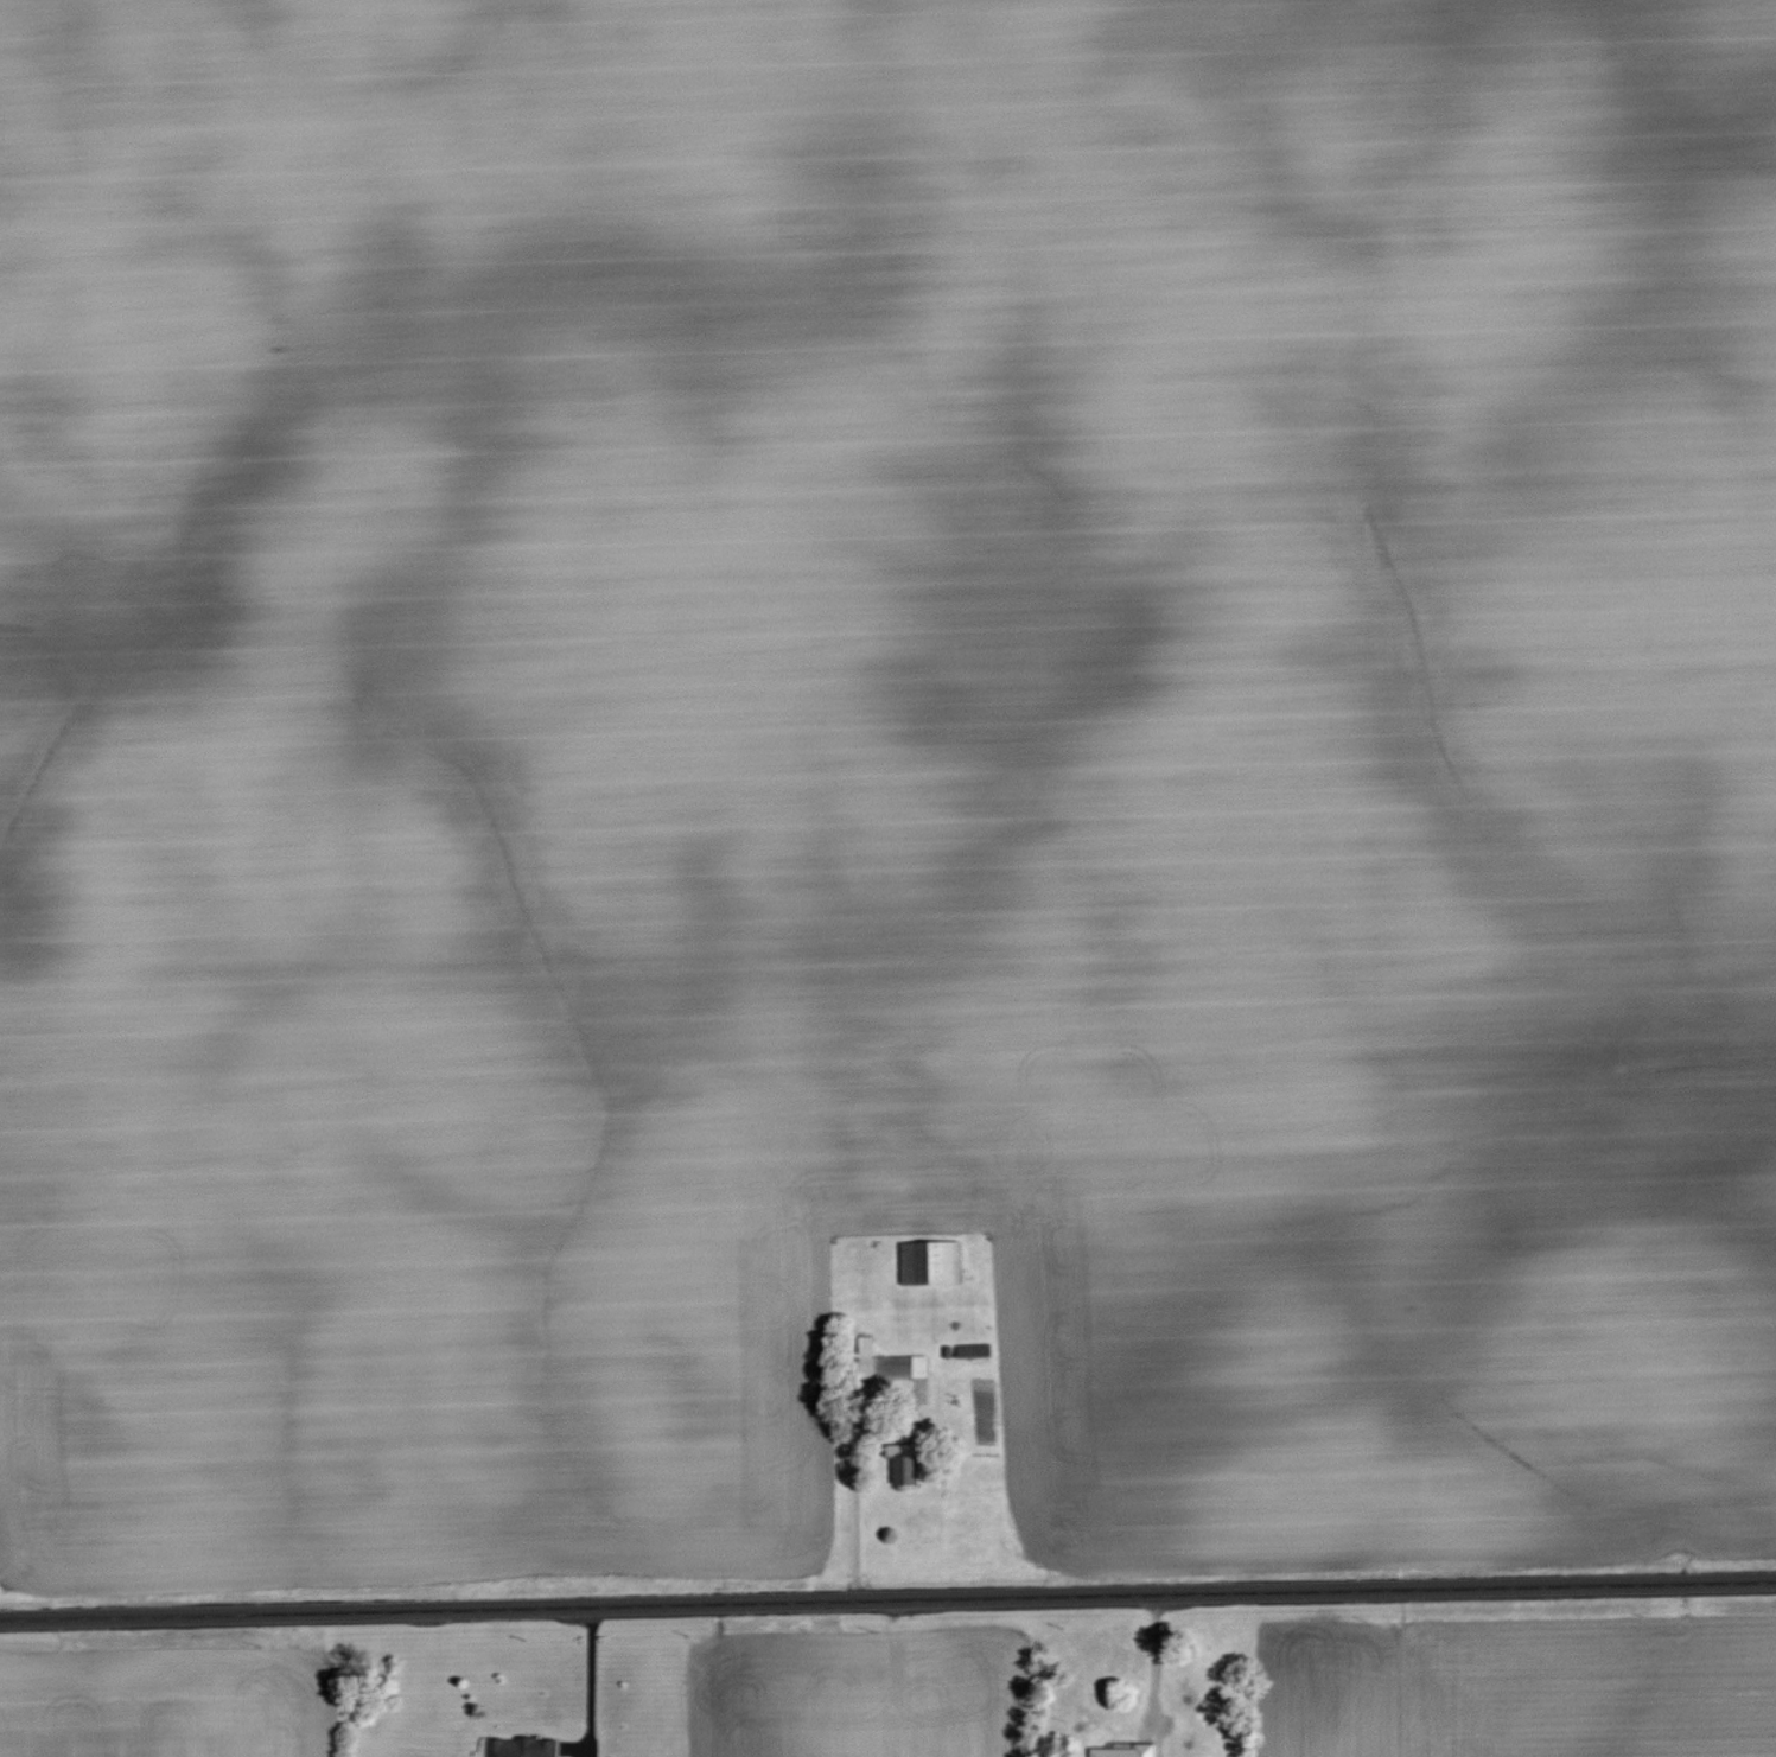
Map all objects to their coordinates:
building: (931, 1261)
building: (914, 1460)
road: (854, 1488)
road: (887, 1600)
road: (1154, 1663)
road: (590, 1682)
building: (522, 1746)
building: (1126, 1751)

